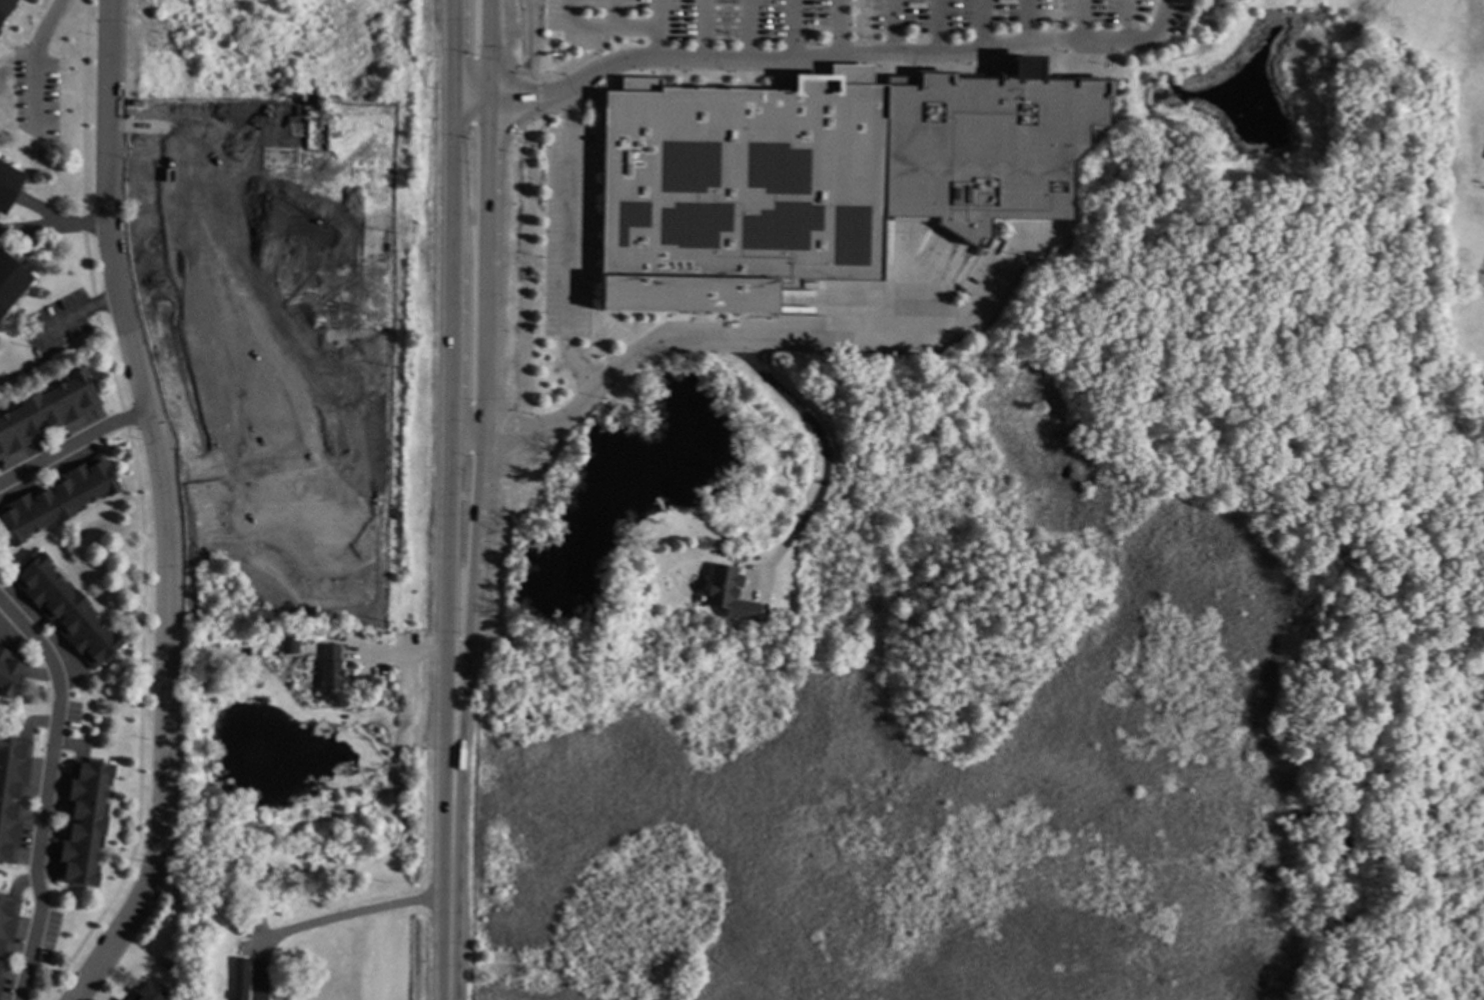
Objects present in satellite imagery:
building: (6, 9)
road: (614, 14)
road: (658, 14)
parking lot: (818, 18)
road: (1029, 21)
road: (1082, 21)
road: (1127, 21)
road: (985, 25)
road: (840, 27)
road: (860, 27)
road: (893, 27)
road: (598, 28)
road: (938, 28)
road: (703, 30)
road: (748, 30)
road: (793, 31)
road: (534, 38)
road: (658, 43)
road: (819, 58)
road: (36, 62)
road: (552, 77)
building: (983, 145)
building: (9, 185)
building: (733, 192)
road: (284, 204)
road: (52, 229)
parking lot: (565, 234)
road: (568, 241)
road: (240, 243)
building: (12, 281)
road: (74, 316)
road: (762, 334)
road: (62, 352)
road: (449, 353)
road: (484, 354)
building: (48, 411)
road: (72, 445)
road: (821, 445)
road: (263, 454)
building: (58, 498)
road: (164, 508)
building: (727, 593)
building: (68, 611)
building: (274, 646)
building: (293, 646)
road: (416, 656)
building: (333, 667)
building: (11, 670)
road: (45, 791)
building: (14, 795)
building: (85, 823)
road: (454, 853)
road: (327, 920)
building: (8, 931)
building: (167, 962)
building: (242, 979)
building: (151, 992)

